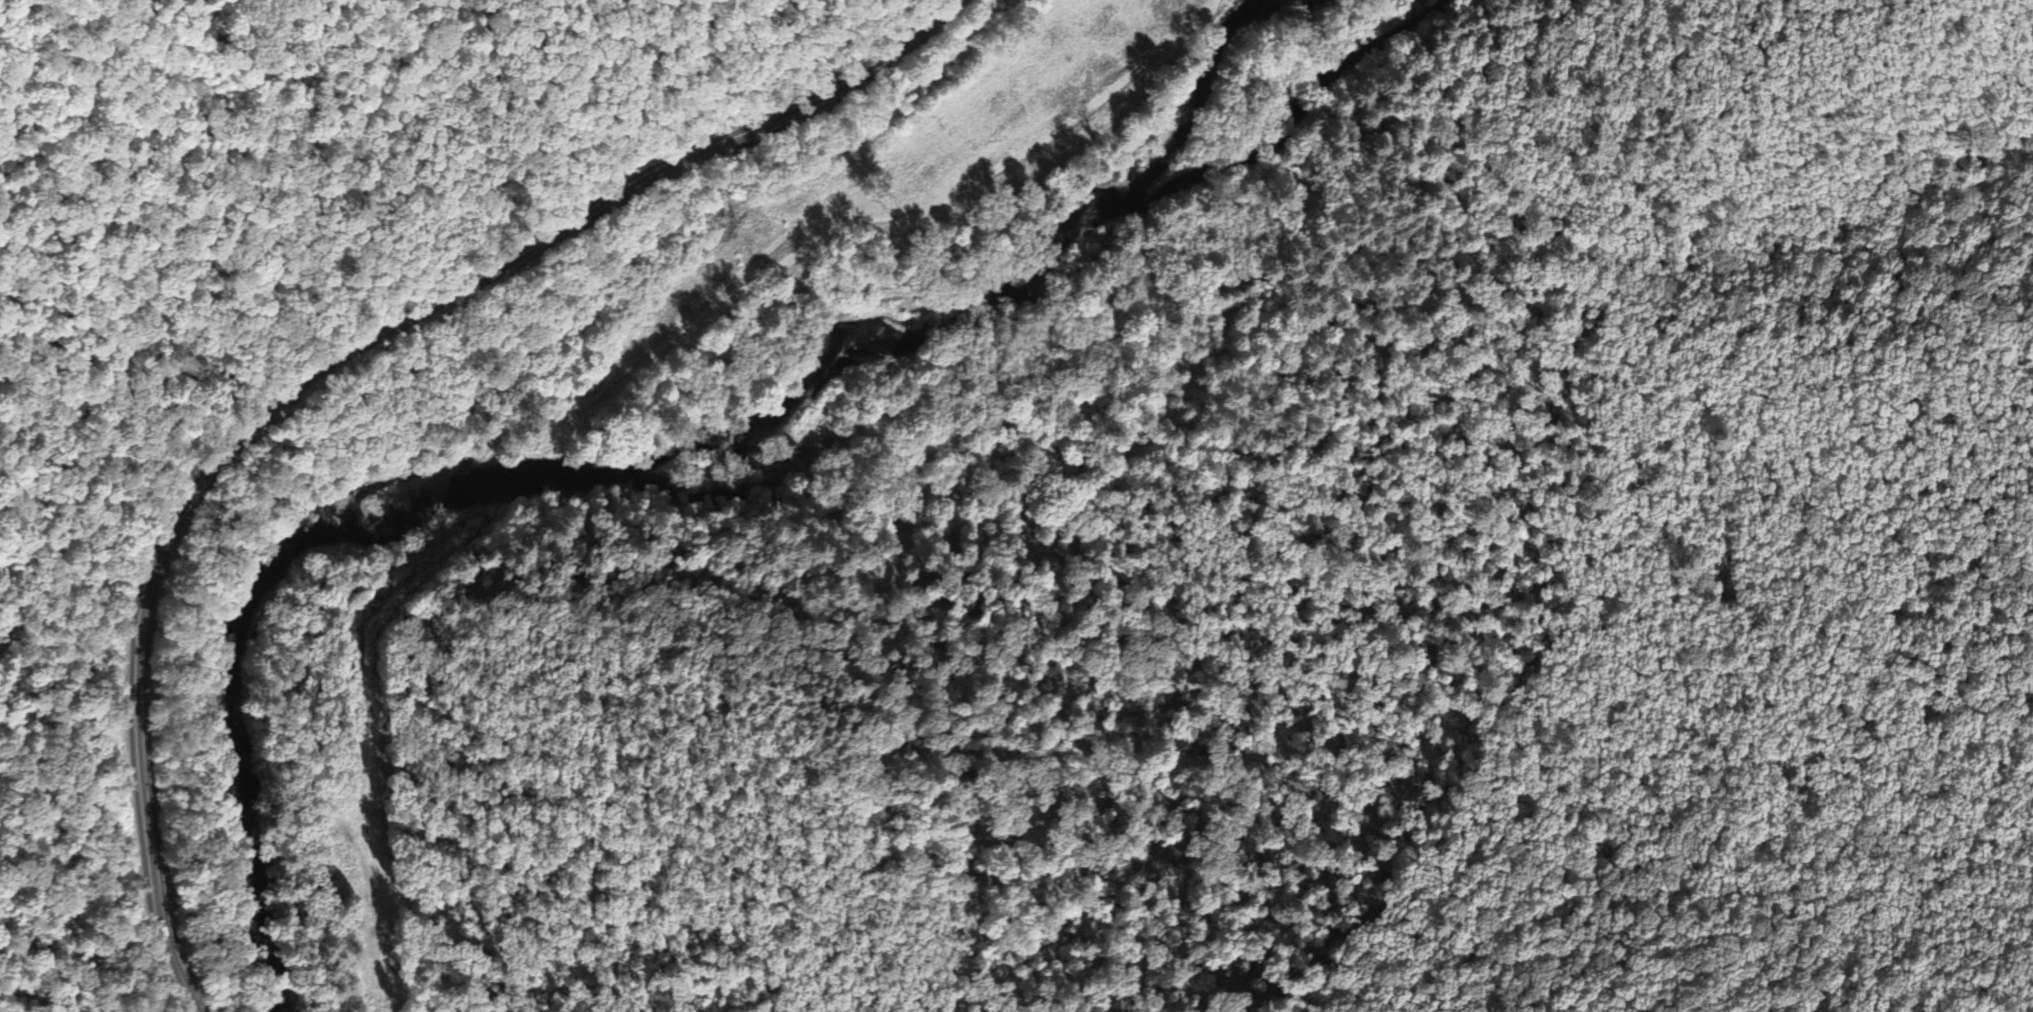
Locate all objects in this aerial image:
road: (330, 366)

